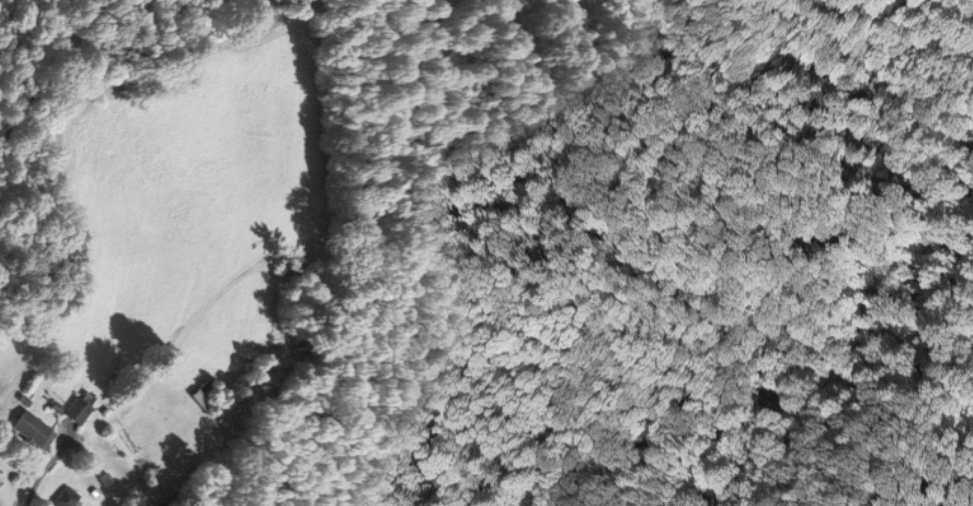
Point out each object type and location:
building: (202, 394)
building: (79, 406)
road: (85, 428)
building: (30, 429)
building: (65, 498)

